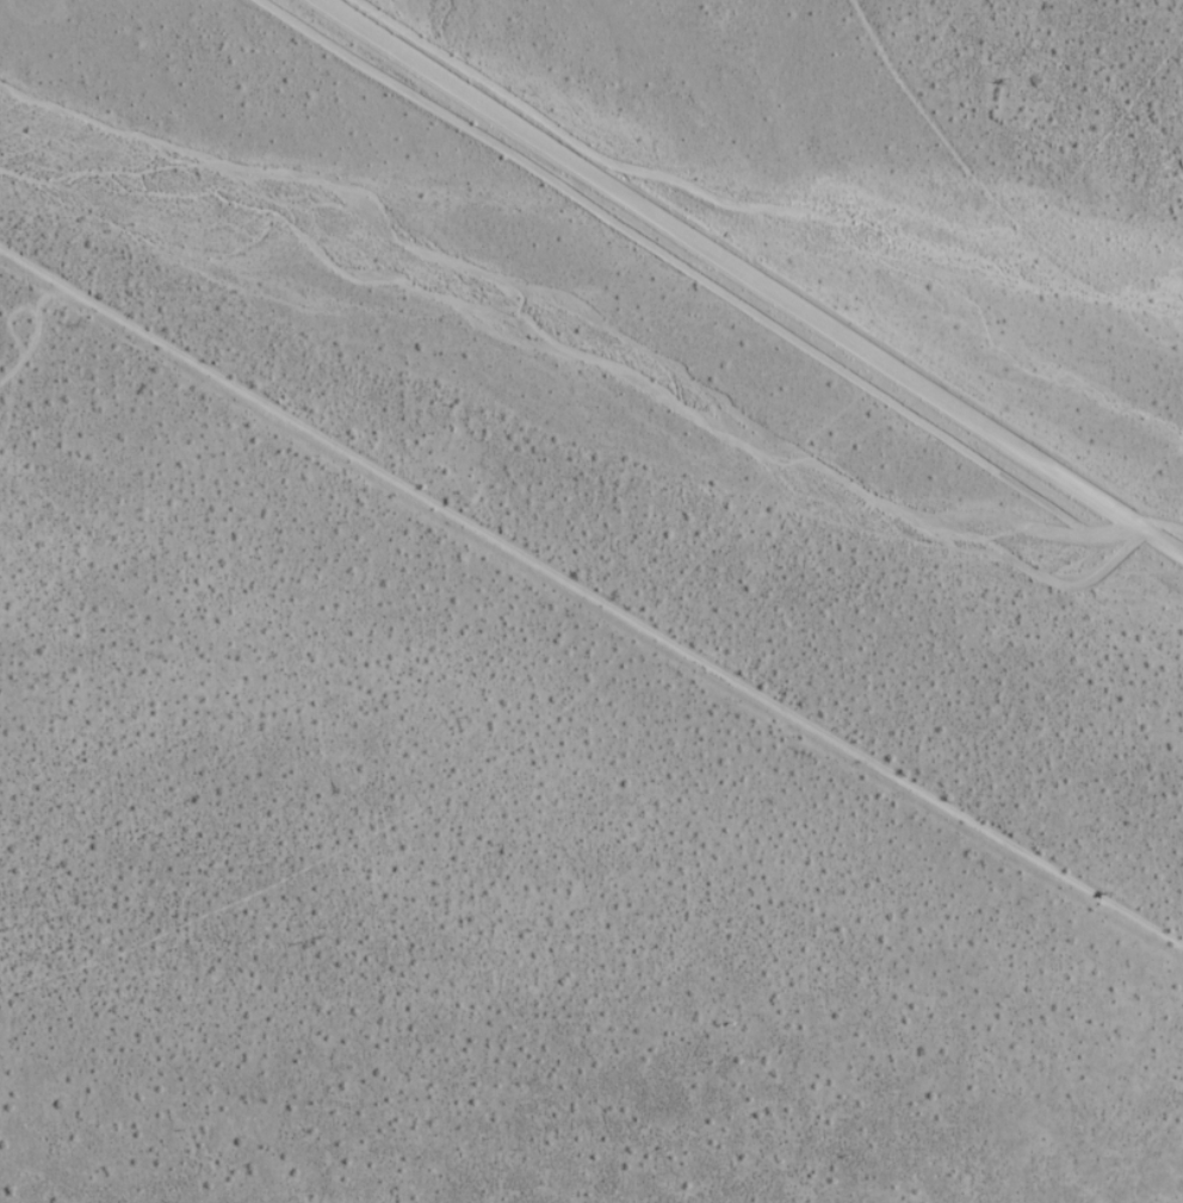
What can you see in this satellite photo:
road: (752, 274)
road: (590, 596)

